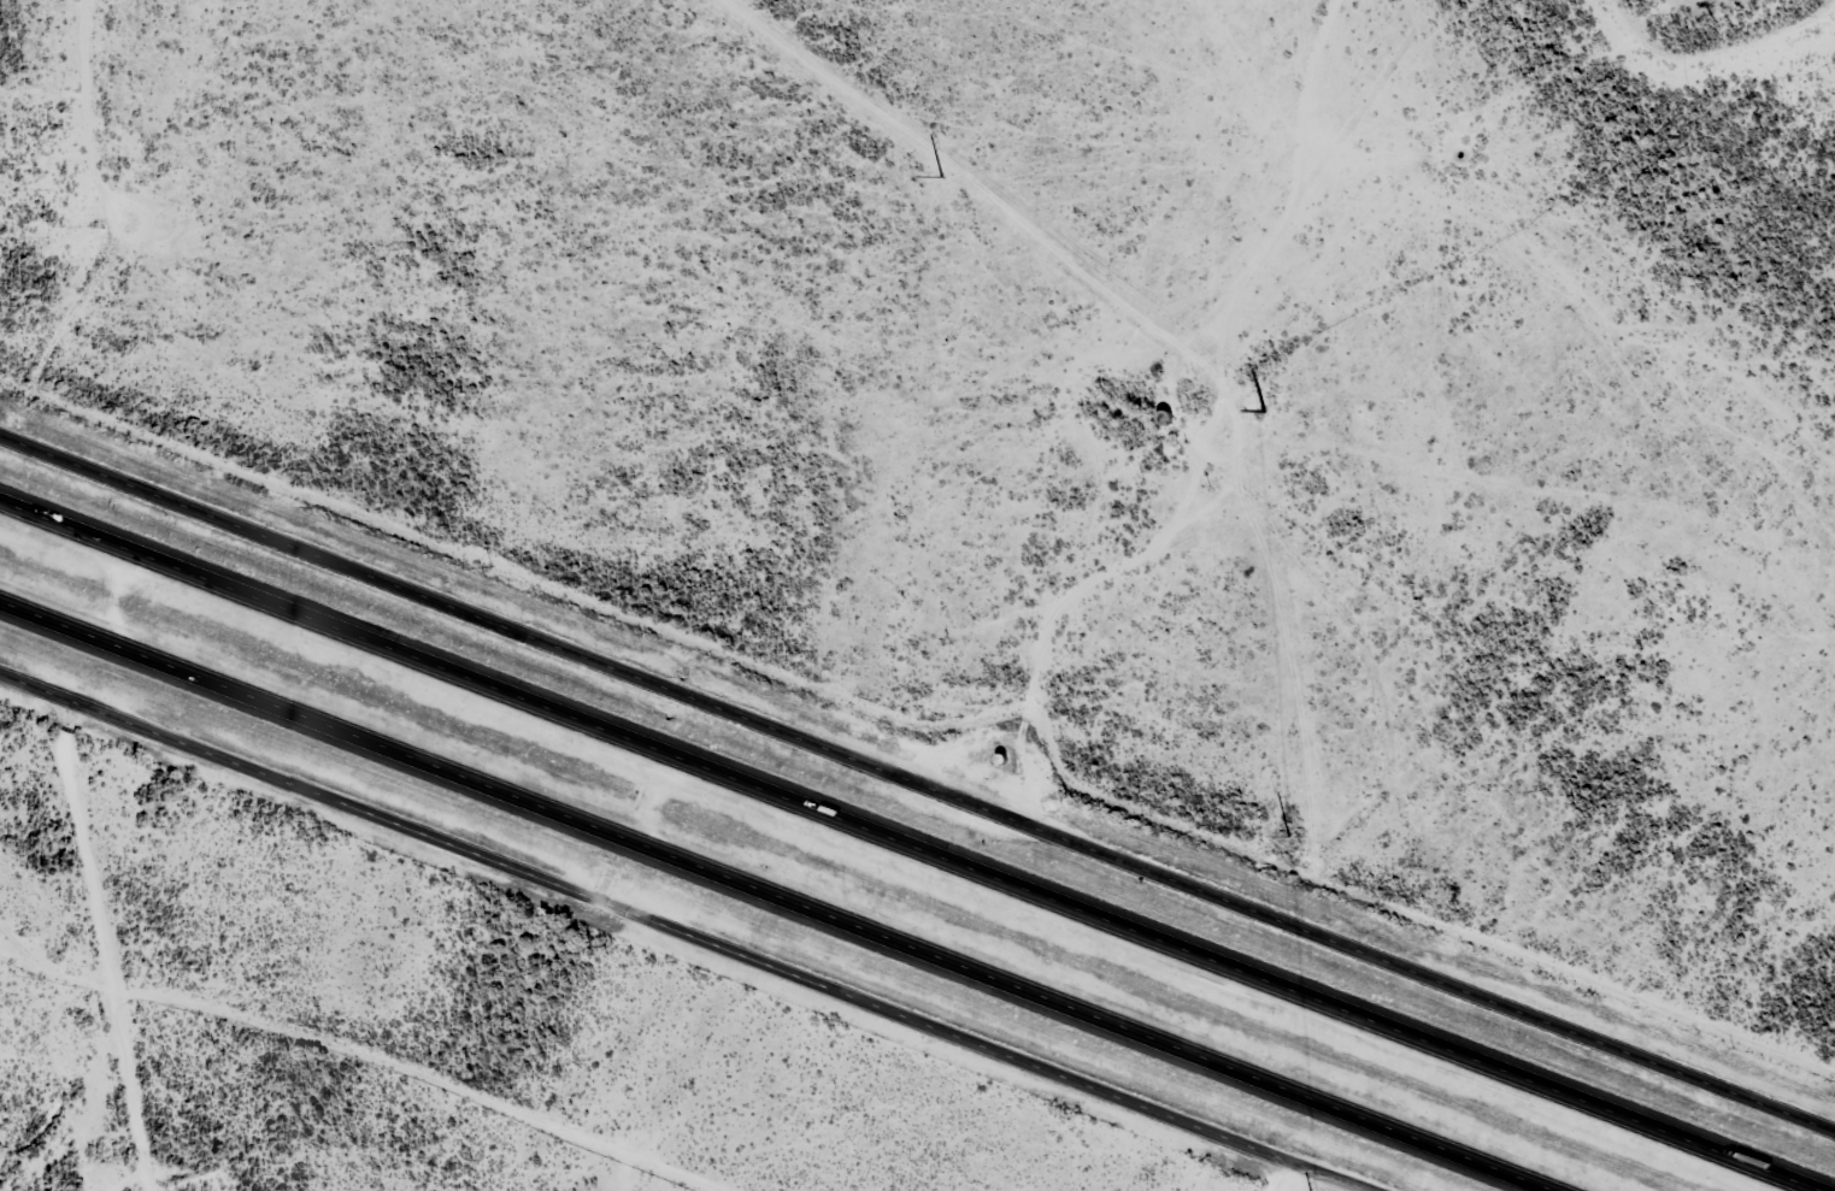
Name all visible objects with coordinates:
power tower: (942, 177)
power tower: (1264, 409)
road: (917, 778)
power tower: (1289, 833)
road: (917, 838)
road: (760, 901)
road: (60, 915)
road: (660, 939)
road: (87, 1140)

